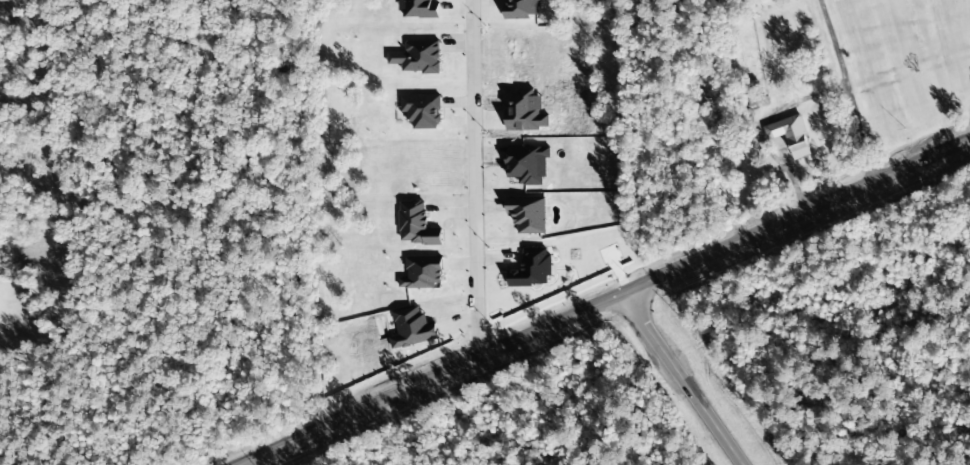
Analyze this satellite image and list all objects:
building: (418, 9)
building: (521, 9)
building: (417, 57)
building: (708, 98)
building: (422, 111)
building: (790, 135)
building: (527, 165)
road: (476, 176)
building: (527, 214)
building: (416, 224)
building: (531, 269)
building: (422, 273)
road: (598, 299)
building: (413, 328)
road: (679, 377)

